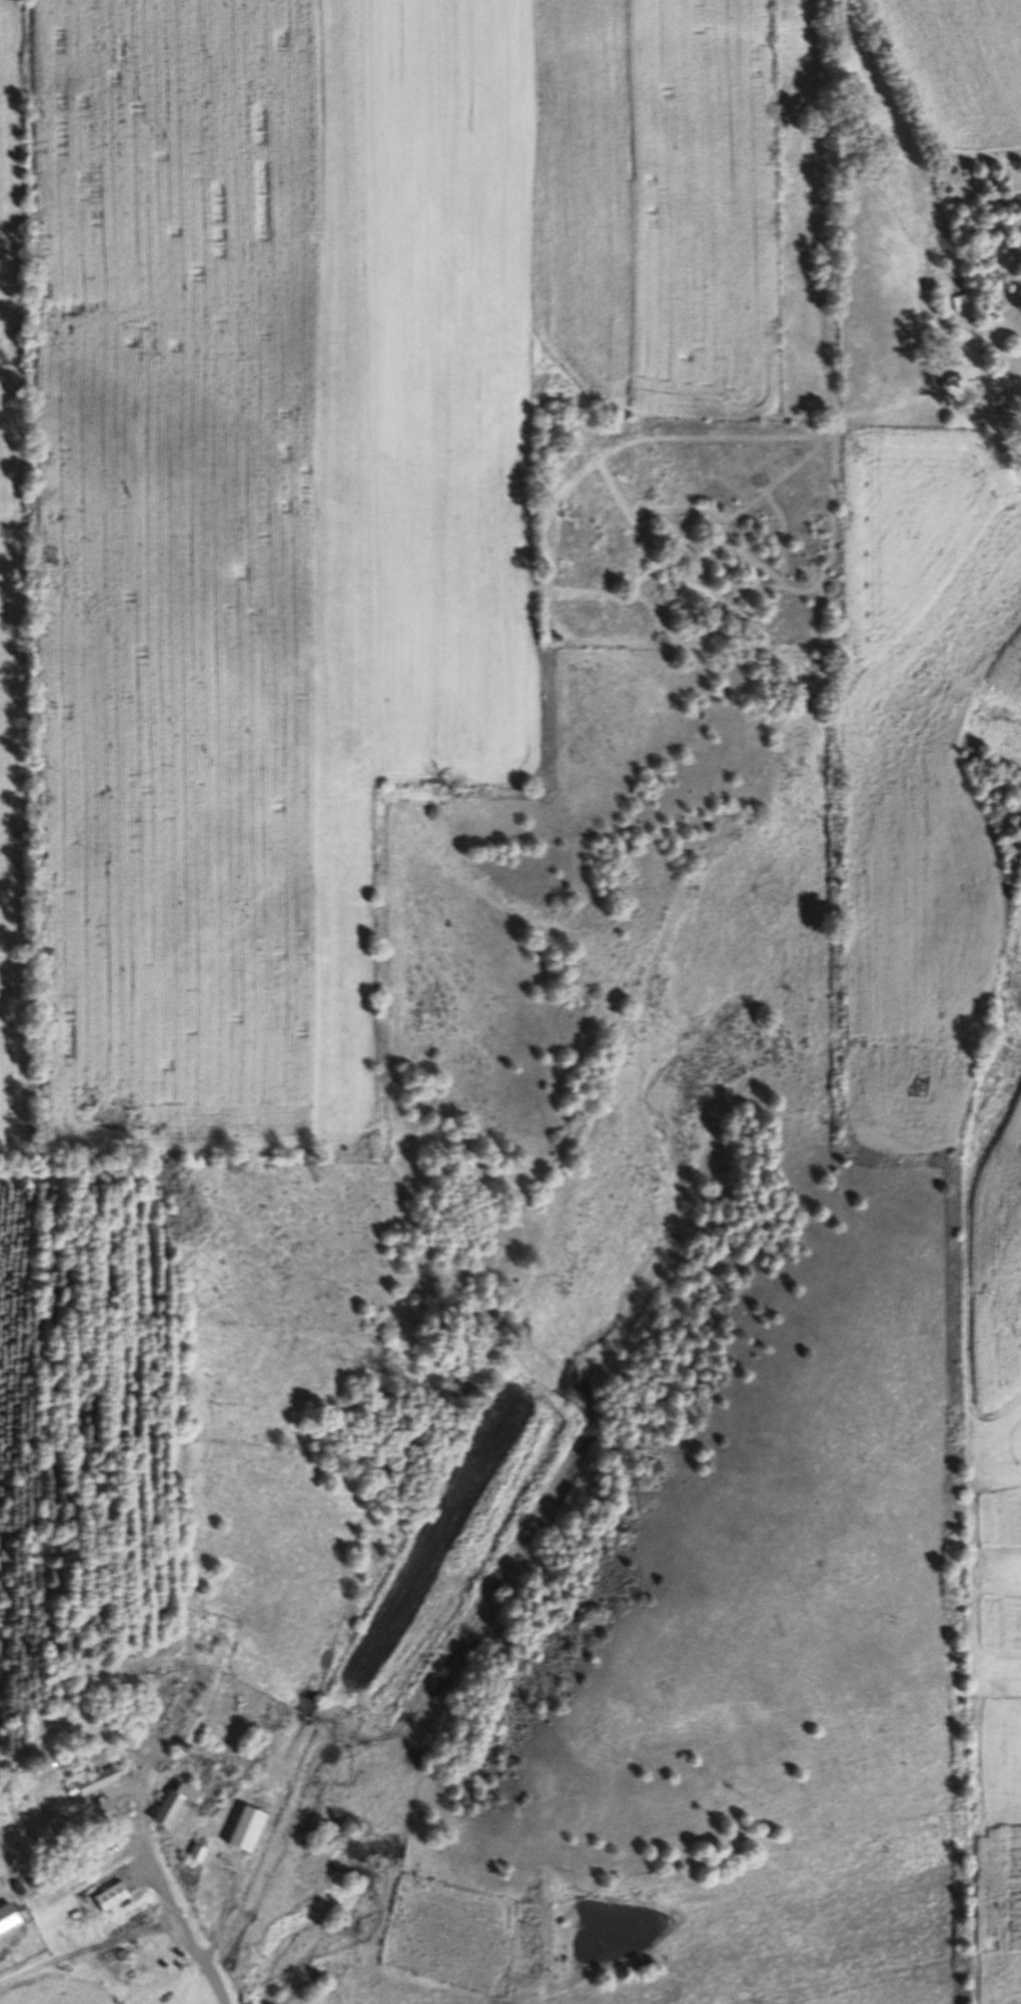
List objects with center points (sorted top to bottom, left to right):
building: (95, 1784)
building: (179, 1805)
building: (49, 1826)
building: (200, 1855)
building: (115, 1895)
road: (156, 1906)
building: (9, 1916)

